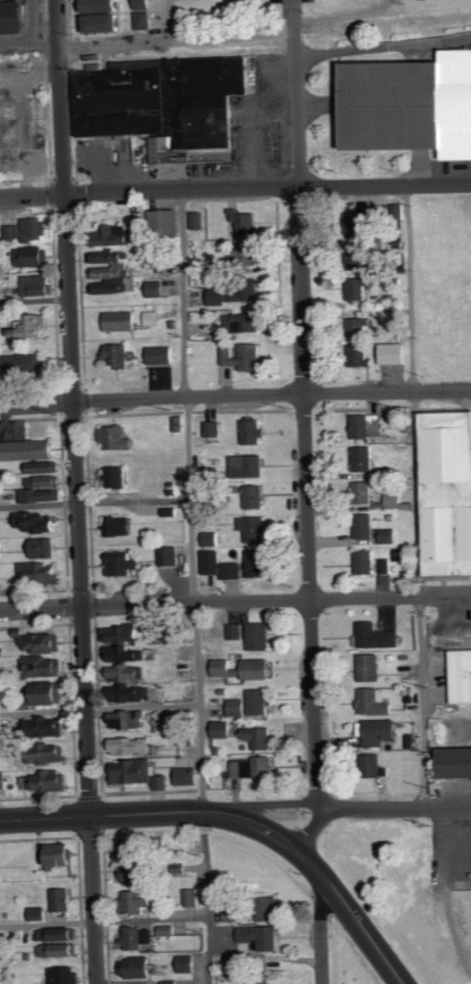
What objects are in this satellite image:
building: (144, 5)
building: (105, 6)
road: (342, 14)
building: (10, 16)
building: (146, 20)
road: (173, 20)
building: (107, 23)
road: (177, 40)
road: (384, 48)
building: (165, 102)
building: (409, 105)
road: (235, 190)
building: (166, 220)
building: (369, 220)
building: (198, 221)
building: (246, 224)
building: (31, 228)
building: (11, 231)
building: (141, 231)
building: (111, 236)
building: (30, 255)
building: (244, 257)
building: (366, 262)
building: (112, 272)
building: (35, 285)
building: (158, 288)
building: (358, 288)
building: (236, 292)
road: (35, 299)
building: (153, 317)
building: (121, 320)
building: (242, 322)
building: (364, 322)
building: (31, 325)
building: (395, 353)
building: (163, 354)
building: (363, 355)
building: (244, 357)
building: (23, 362)
road: (235, 396)
road: (305, 405)
building: (180, 422)
building: (368, 425)
building: (213, 428)
building: (254, 431)
building: (118, 437)
building: (27, 449)
building: (363, 458)
building: (248, 465)
building: (44, 466)
building: (118, 476)
building: (44, 480)
road: (78, 491)
building: (363, 491)
building: (446, 492)
building: (41, 495)
building: (255, 496)
road: (416, 497)
building: (394, 500)
road: (94, 503)
building: (38, 521)
building: (121, 525)
building: (365, 525)
building: (254, 528)
building: (390, 535)
building: (212, 538)
building: (45, 547)
building: (2, 549)
building: (172, 555)
building: (366, 561)
building: (258, 563)
building: (124, 565)
building: (221, 565)
building: (387, 565)
building: (40, 573)
road: (191, 588)
road: (235, 602)
building: (236, 630)
building: (126, 632)
building: (259, 635)
building: (376, 635)
building: (42, 641)
building: (126, 653)
building: (46, 665)
building: (370, 666)
building: (221, 667)
building: (258, 669)
building: (129, 671)
building: (457, 673)
building: (50, 692)
building: (133, 692)
building: (259, 701)
building: (375, 701)
road: (99, 706)
building: (237, 706)
building: (130, 718)
building: (46, 726)
building: (224, 728)
building: (381, 731)
building: (260, 737)
building: (187, 739)
building: (132, 745)
building: (48, 752)
building: (454, 762)
building: (376, 764)
building: (253, 766)
building: (139, 772)
building: (189, 775)
building: (3, 779)
building: (47, 781)
road: (282, 804)
road: (374, 808)
road: (119, 815)
building: (132, 849)
building: (62, 853)
building: (133, 874)
road: (332, 886)
building: (193, 897)
building: (65, 899)
building: (139, 901)
building: (269, 908)
building: (40, 913)
road: (104, 920)
building: (169, 930)
building: (61, 934)
road: (322, 935)
building: (139, 937)
building: (261, 937)
building: (61, 949)
building: (188, 963)
building: (140, 967)
building: (67, 975)
building: (172, 982)

